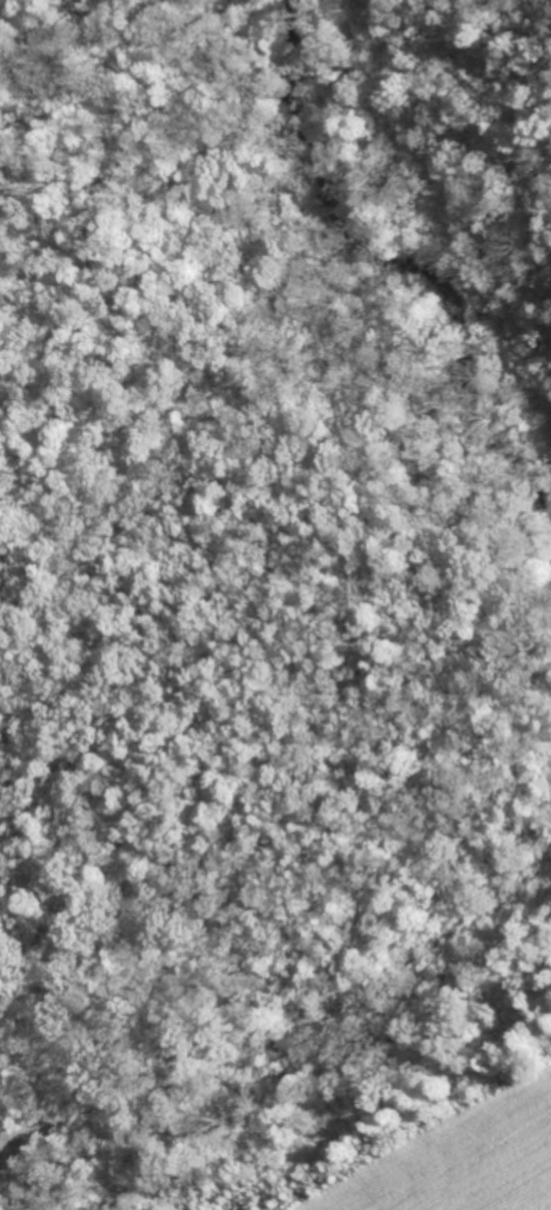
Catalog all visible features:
crop: (444, 1152)

